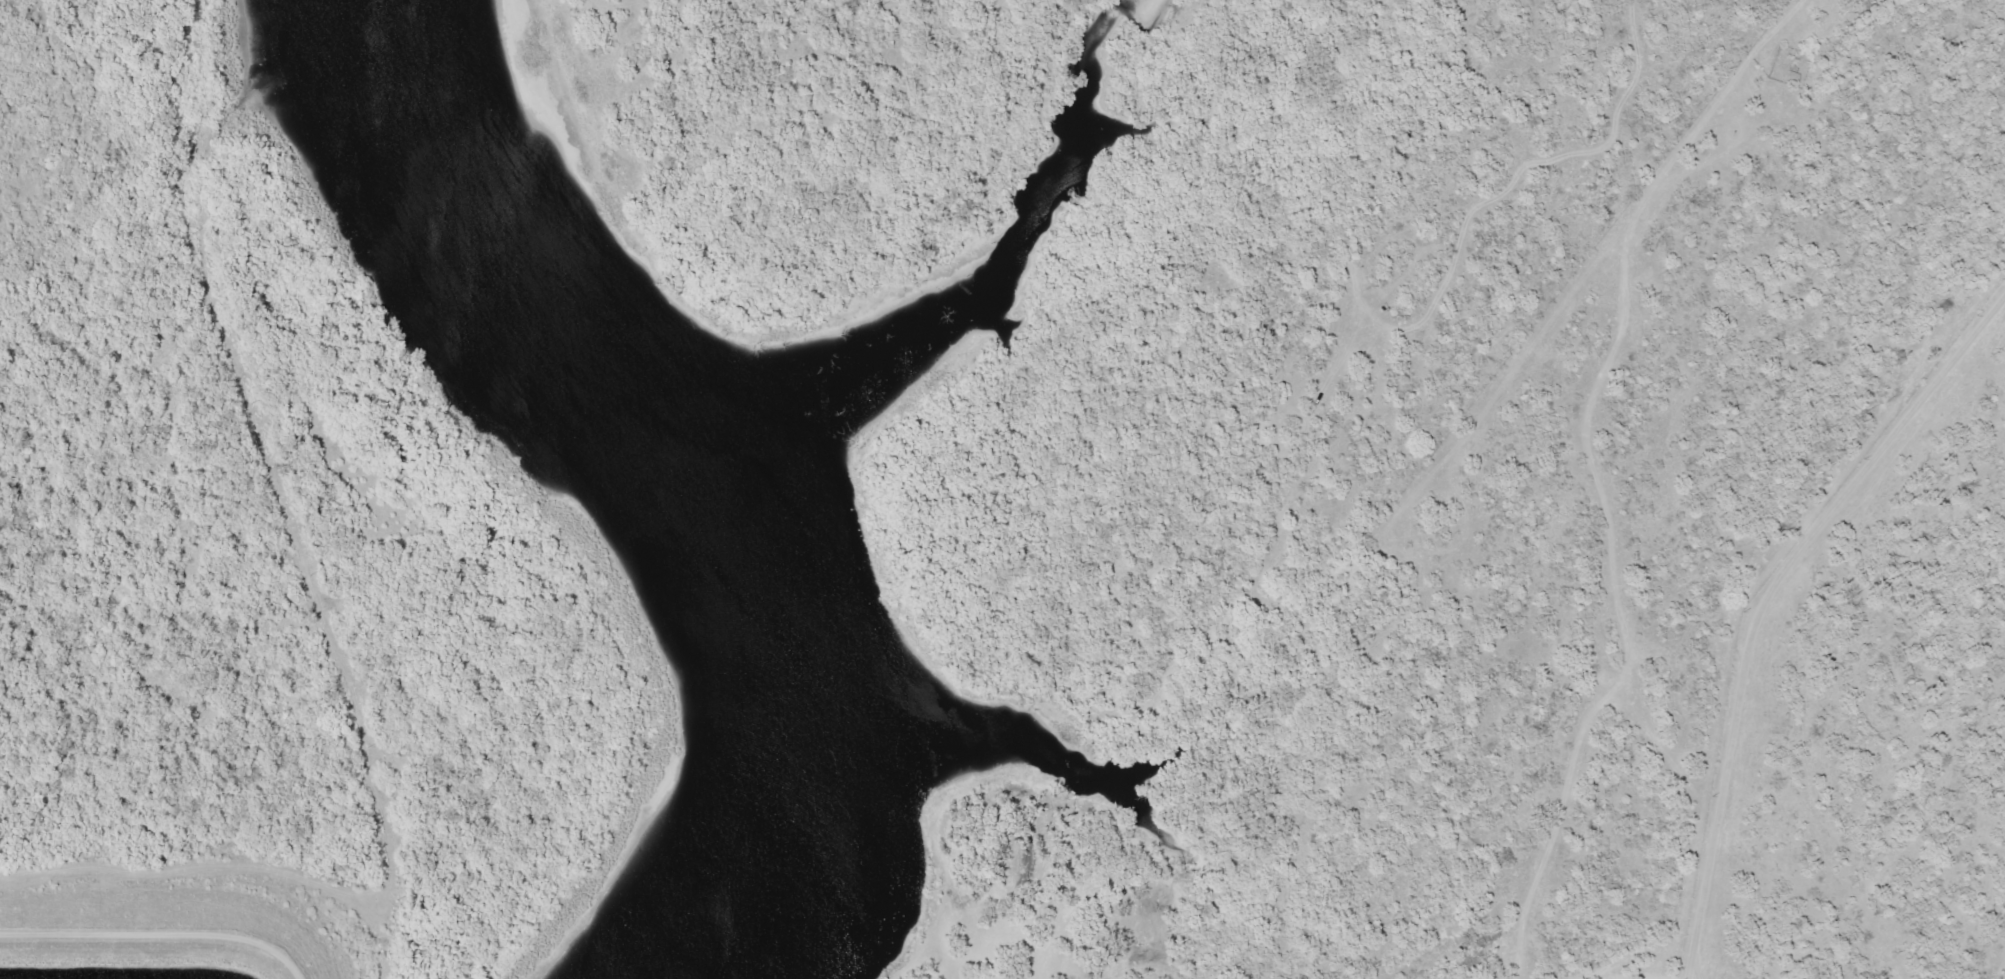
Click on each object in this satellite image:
road: (1606, 523)
power plant: (263, 565)
road: (156, 936)

